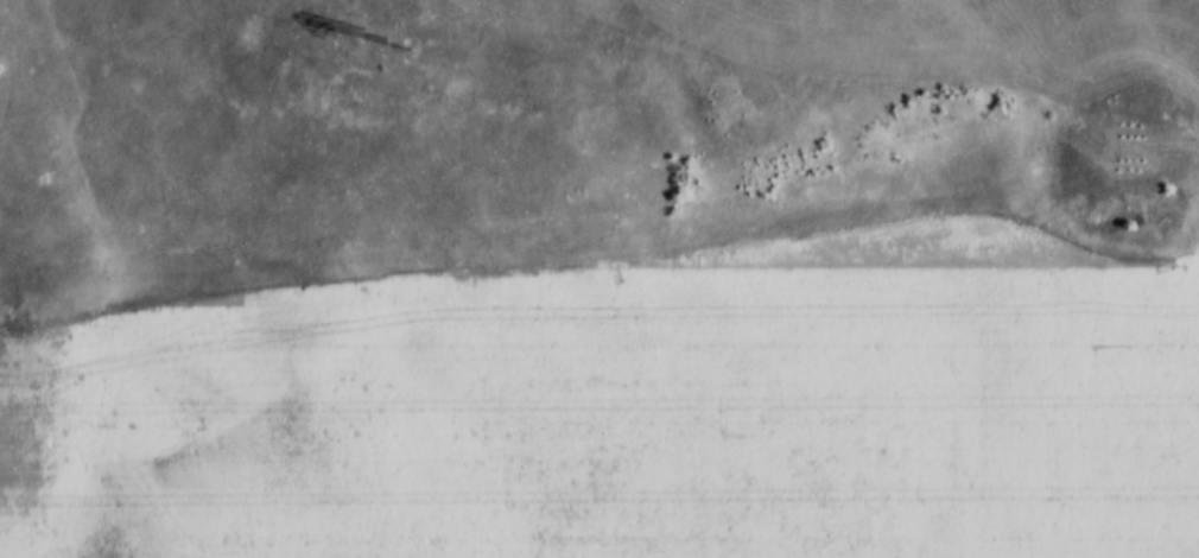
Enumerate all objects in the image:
power tower: (393, 52)

